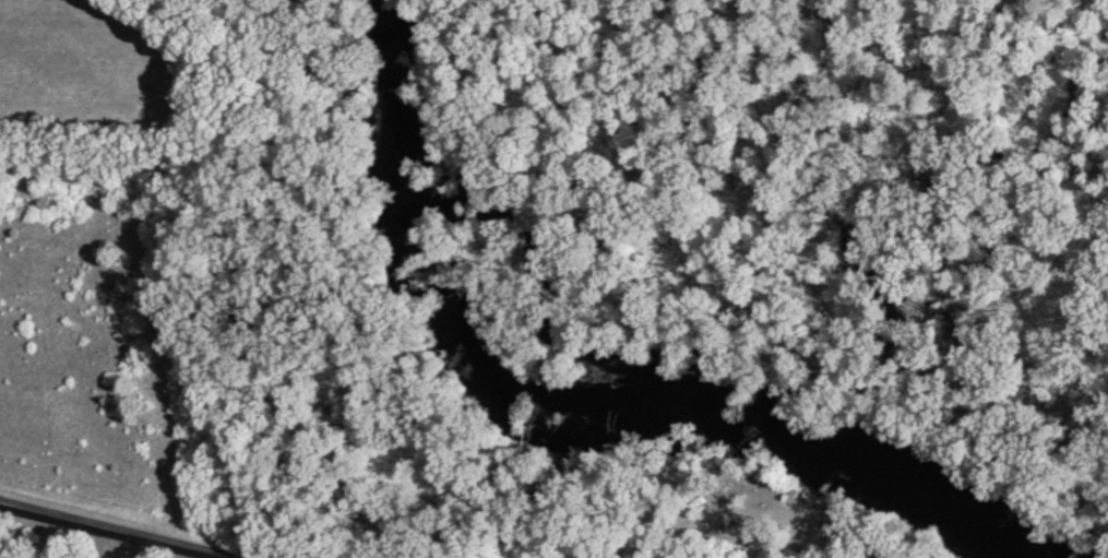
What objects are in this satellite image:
river: (576, 402)
road: (108, 530)

